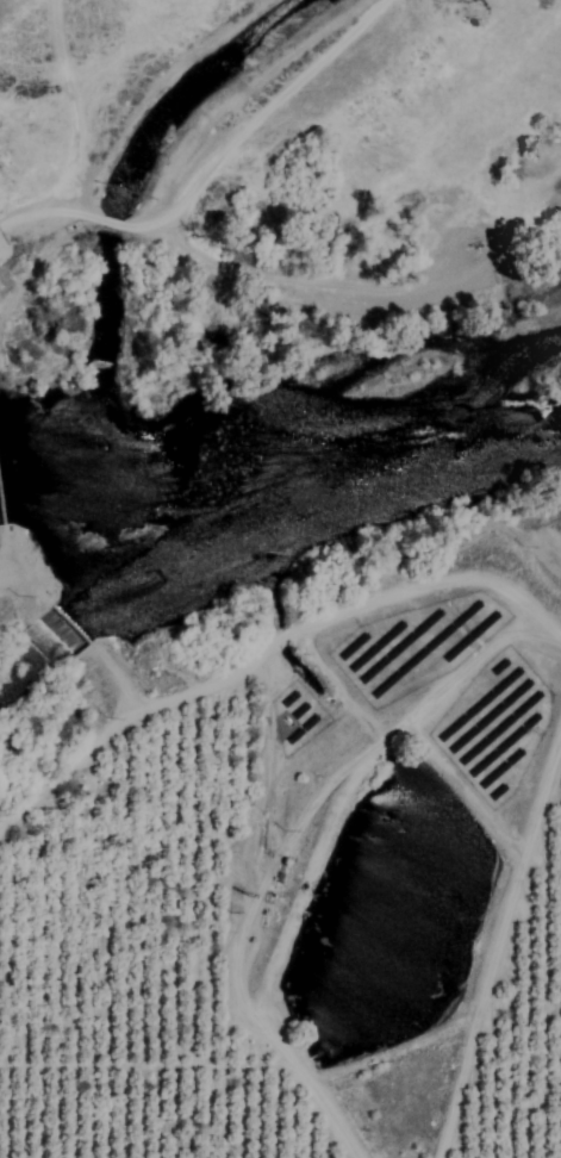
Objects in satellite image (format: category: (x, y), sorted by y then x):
road: (157, 91)
river: (360, 463)
dam: (61, 617)
building: (43, 652)
crop: (300, 919)

